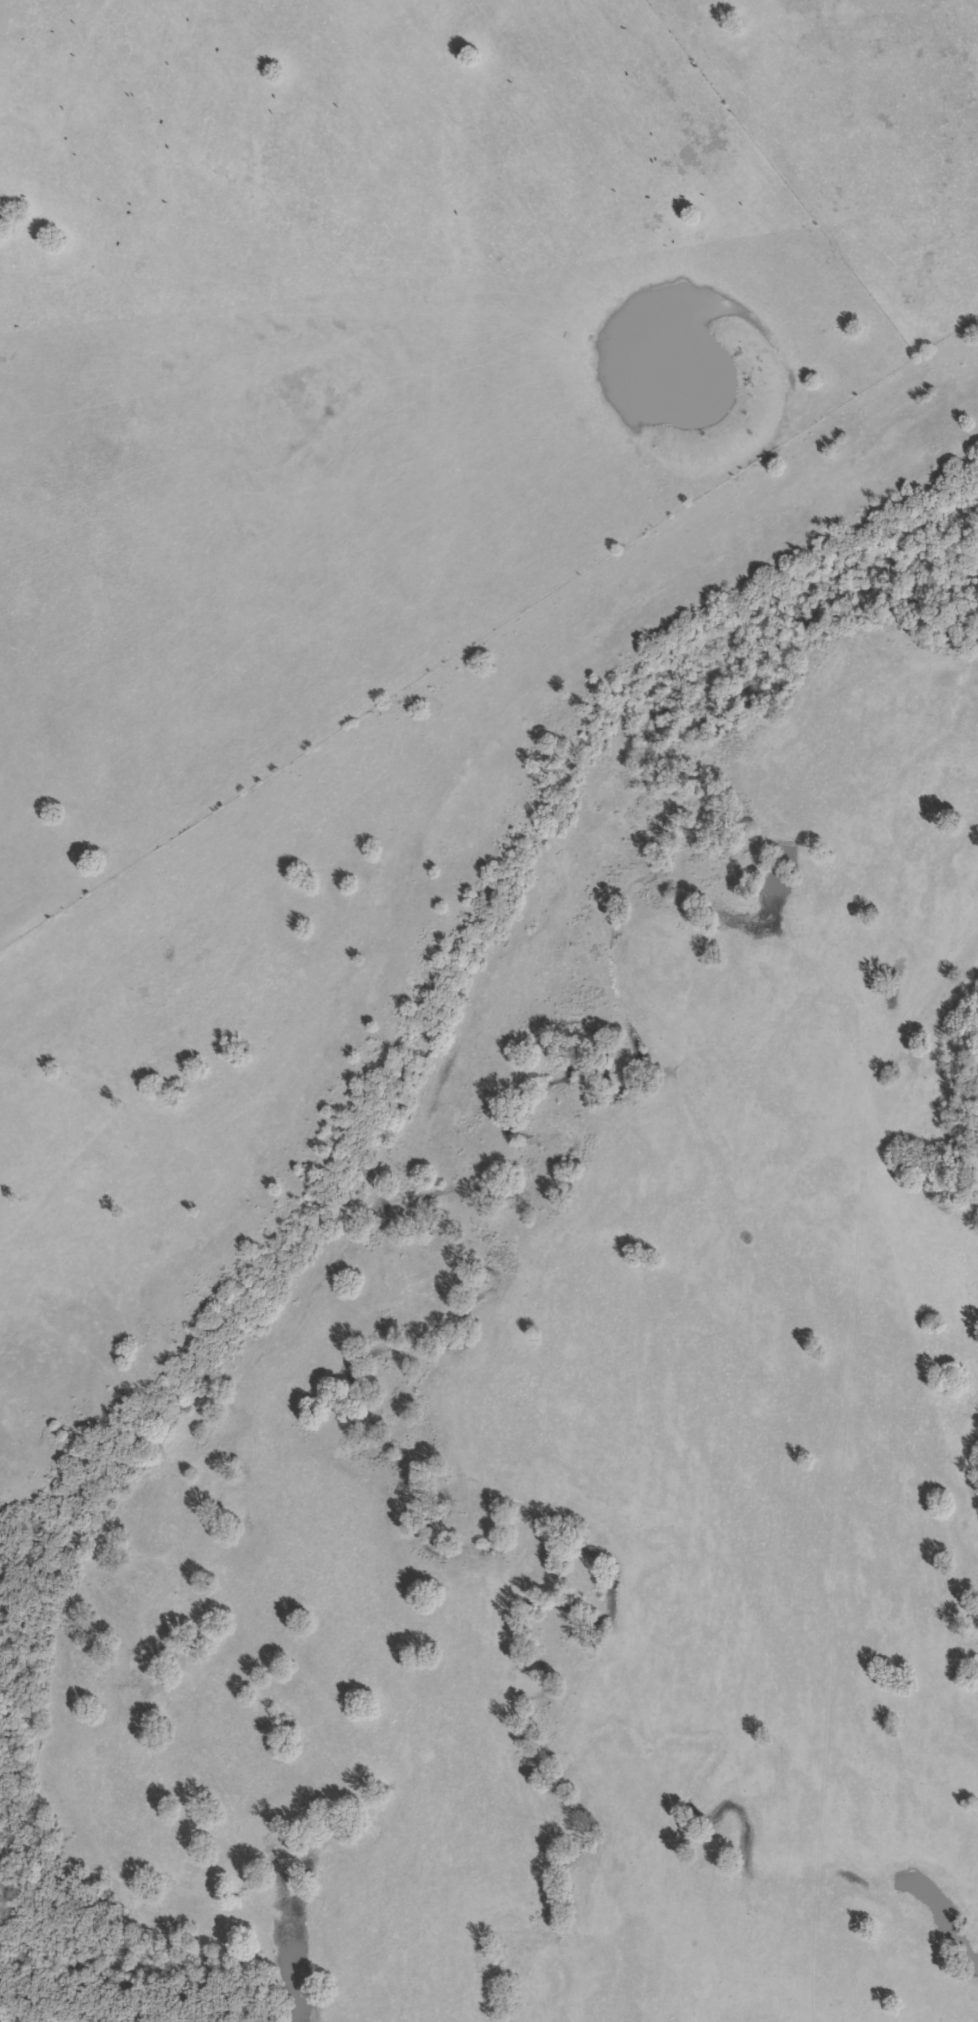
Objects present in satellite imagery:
road: (844, 1126)
road: (768, 1568)

